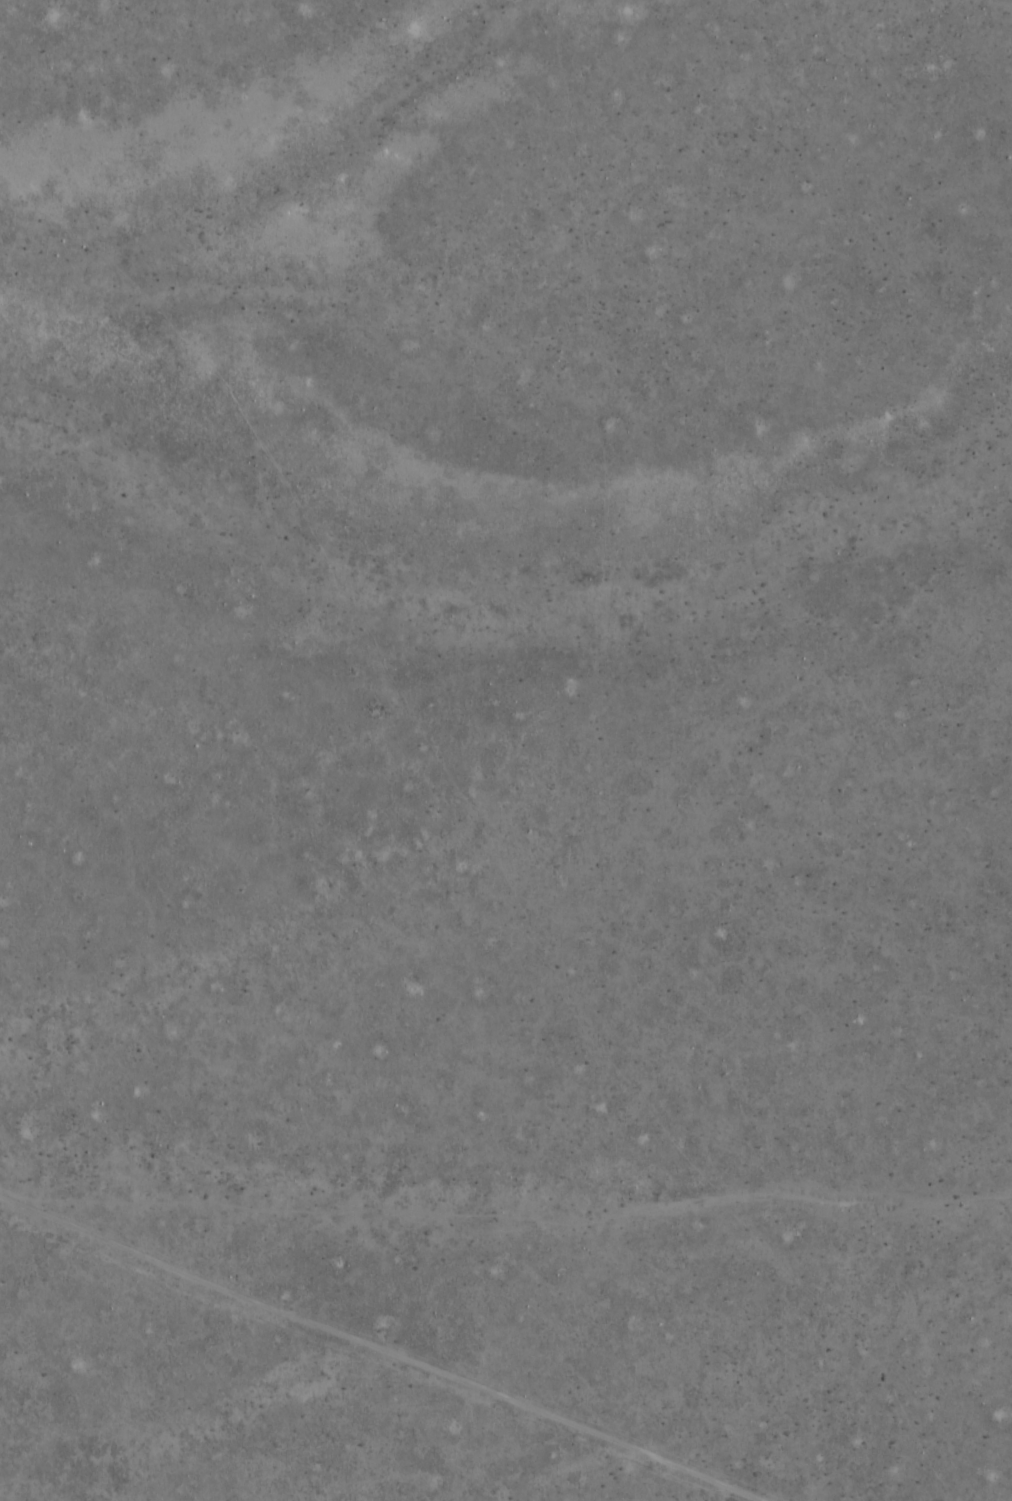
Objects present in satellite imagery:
road: (381, 1348)

